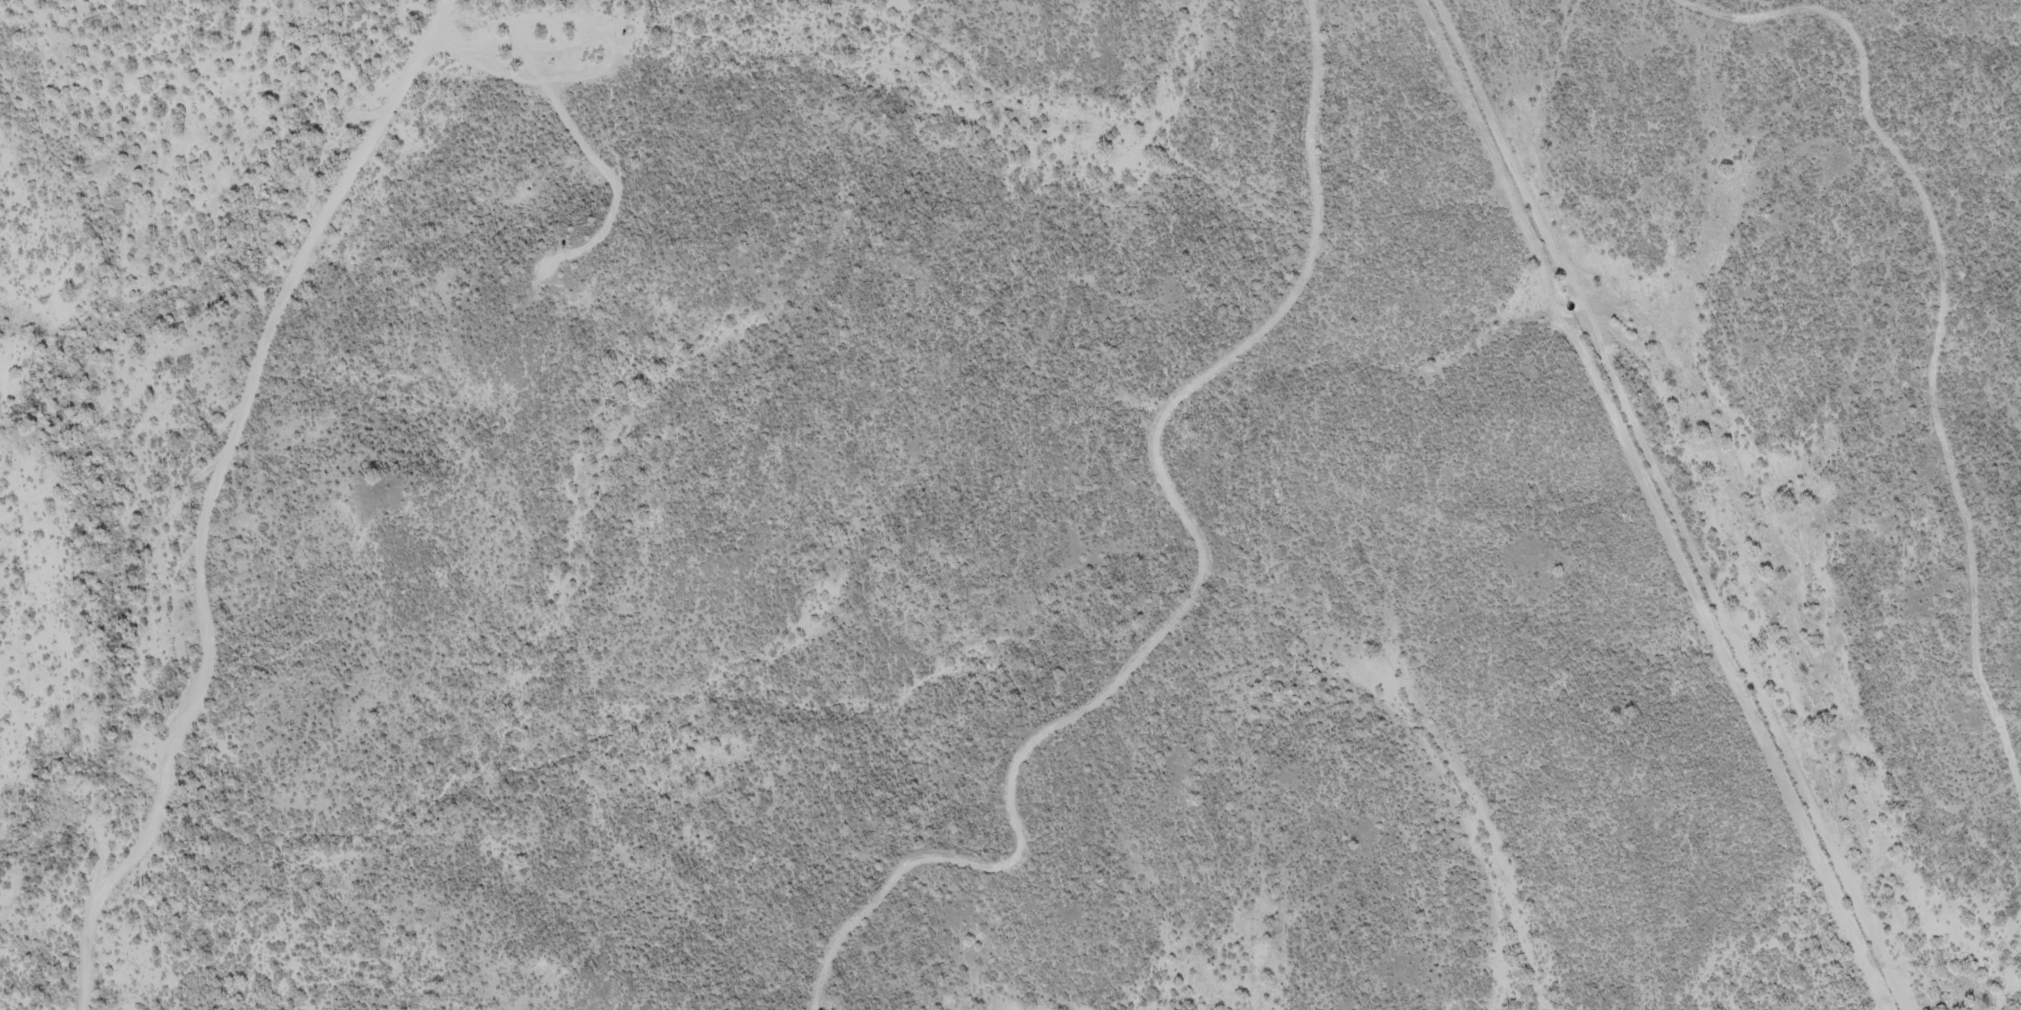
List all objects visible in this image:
road: (218, 495)
road: (1663, 505)
road: (1300, 530)

